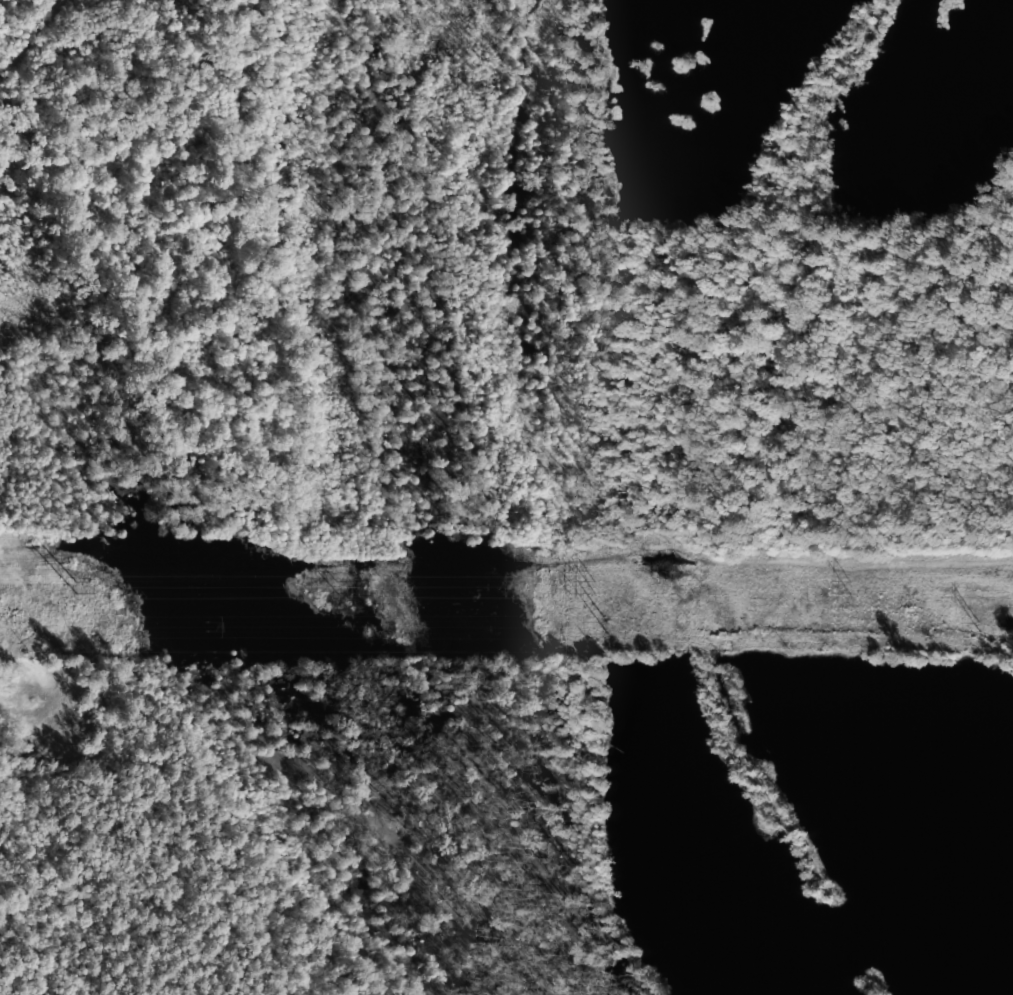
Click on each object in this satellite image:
road: (31, 36)
power tower: (594, 624)
power tower: (205, 629)
power tower: (977, 632)

